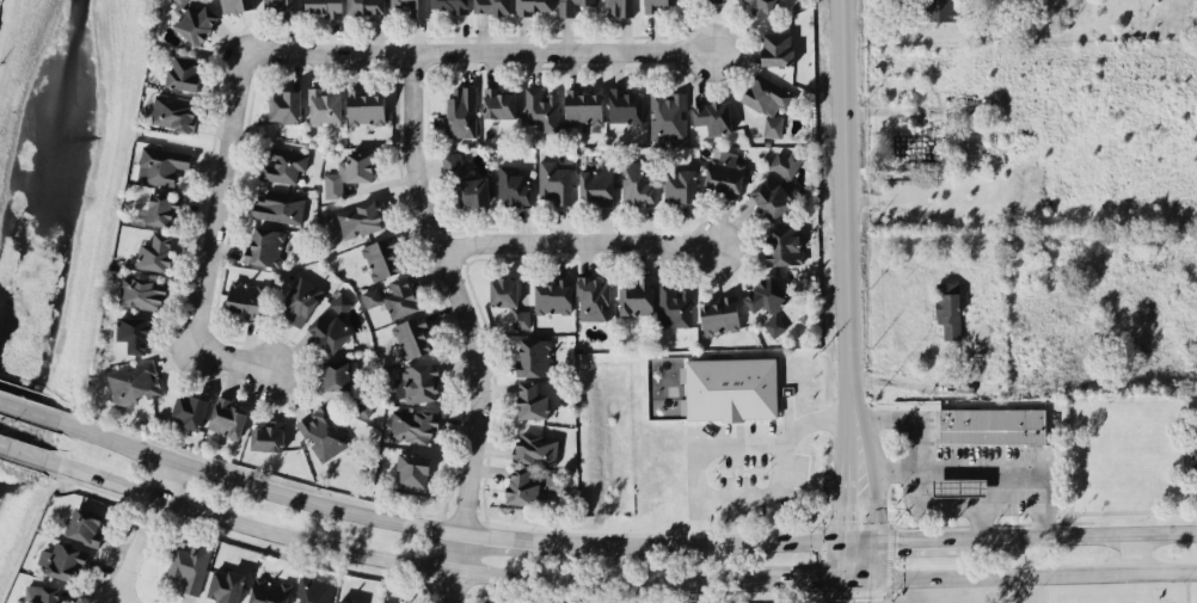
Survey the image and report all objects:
building: (177, 1)
building: (235, 5)
building: (570, 5)
building: (659, 5)
building: (756, 5)
building: (286, 6)
building: (366, 6)
building: (413, 6)
building: (449, 6)
building: (492, 6)
building: (534, 6)
building: (618, 6)
building: (324, 7)
building: (943, 10)
building: (196, 23)
building: (776, 47)
road: (480, 51)
building: (182, 70)
building: (499, 100)
building: (768, 100)
building: (625, 103)
building: (284, 104)
building: (325, 105)
building: (366, 105)
building: (542, 105)
building: (583, 105)
building: (461, 110)
building: (173, 112)
building: (668, 113)
building: (712, 115)
building: (160, 164)
building: (283, 164)
building: (349, 172)
building: (723, 173)
building: (466, 180)
building: (554, 180)
building: (638, 181)
building: (680, 184)
river: (48, 185)
building: (512, 185)
building: (595, 185)
building: (775, 185)
building: (277, 205)
building: (162, 208)
building: (360, 217)
road: (845, 229)
road: (211, 238)
road: (575, 240)
building: (263, 245)
building: (784, 245)
building: (156, 251)
building: (382, 257)
building: (142, 291)
building: (552, 294)
building: (766, 294)
building: (393, 296)
building: (636, 296)
building: (246, 297)
building: (508, 297)
building: (593, 297)
building: (299, 299)
building: (340, 301)
building: (674, 303)
building: (947, 307)
building: (718, 313)
road: (472, 322)
building: (774, 324)
building: (330, 331)
building: (134, 332)
building: (412, 336)
building: (533, 356)
building: (336, 373)
building: (134, 381)
building: (417, 381)
building: (731, 387)
road: (938, 387)
building: (530, 399)
building: (362, 401)
building: (189, 408)
road: (31, 412)
building: (227, 416)
road: (898, 418)
building: (413, 423)
building: (992, 424)
building: (323, 430)
building: (268, 435)
road: (732, 442)
building: (535, 447)
road: (25, 453)
road: (978, 461)
building: (412, 467)
road: (260, 485)
building: (530, 485)
building: (959, 485)
road: (759, 496)
road: (841, 497)
road: (947, 502)
road: (877, 515)
building: (86, 524)
road: (146, 530)
road: (1078, 536)
road: (499, 537)
road: (858, 537)
traffic signals: (877, 537)
traffic signals: (840, 539)
road: (919, 539)
road: (688, 543)
road: (1130, 554)
road: (837, 558)
road: (395, 559)
building: (63, 560)
building: (190, 564)
road: (1035, 574)
traffic signals: (836, 577)
road: (854, 577)
traffic signals: (873, 577)
road: (794, 578)
building: (225, 584)
building: (268, 590)
building: (313, 590)
road: (835, 590)
road: (871, 590)
building: (49, 595)
building: (345, 601)
building: (385, 602)

